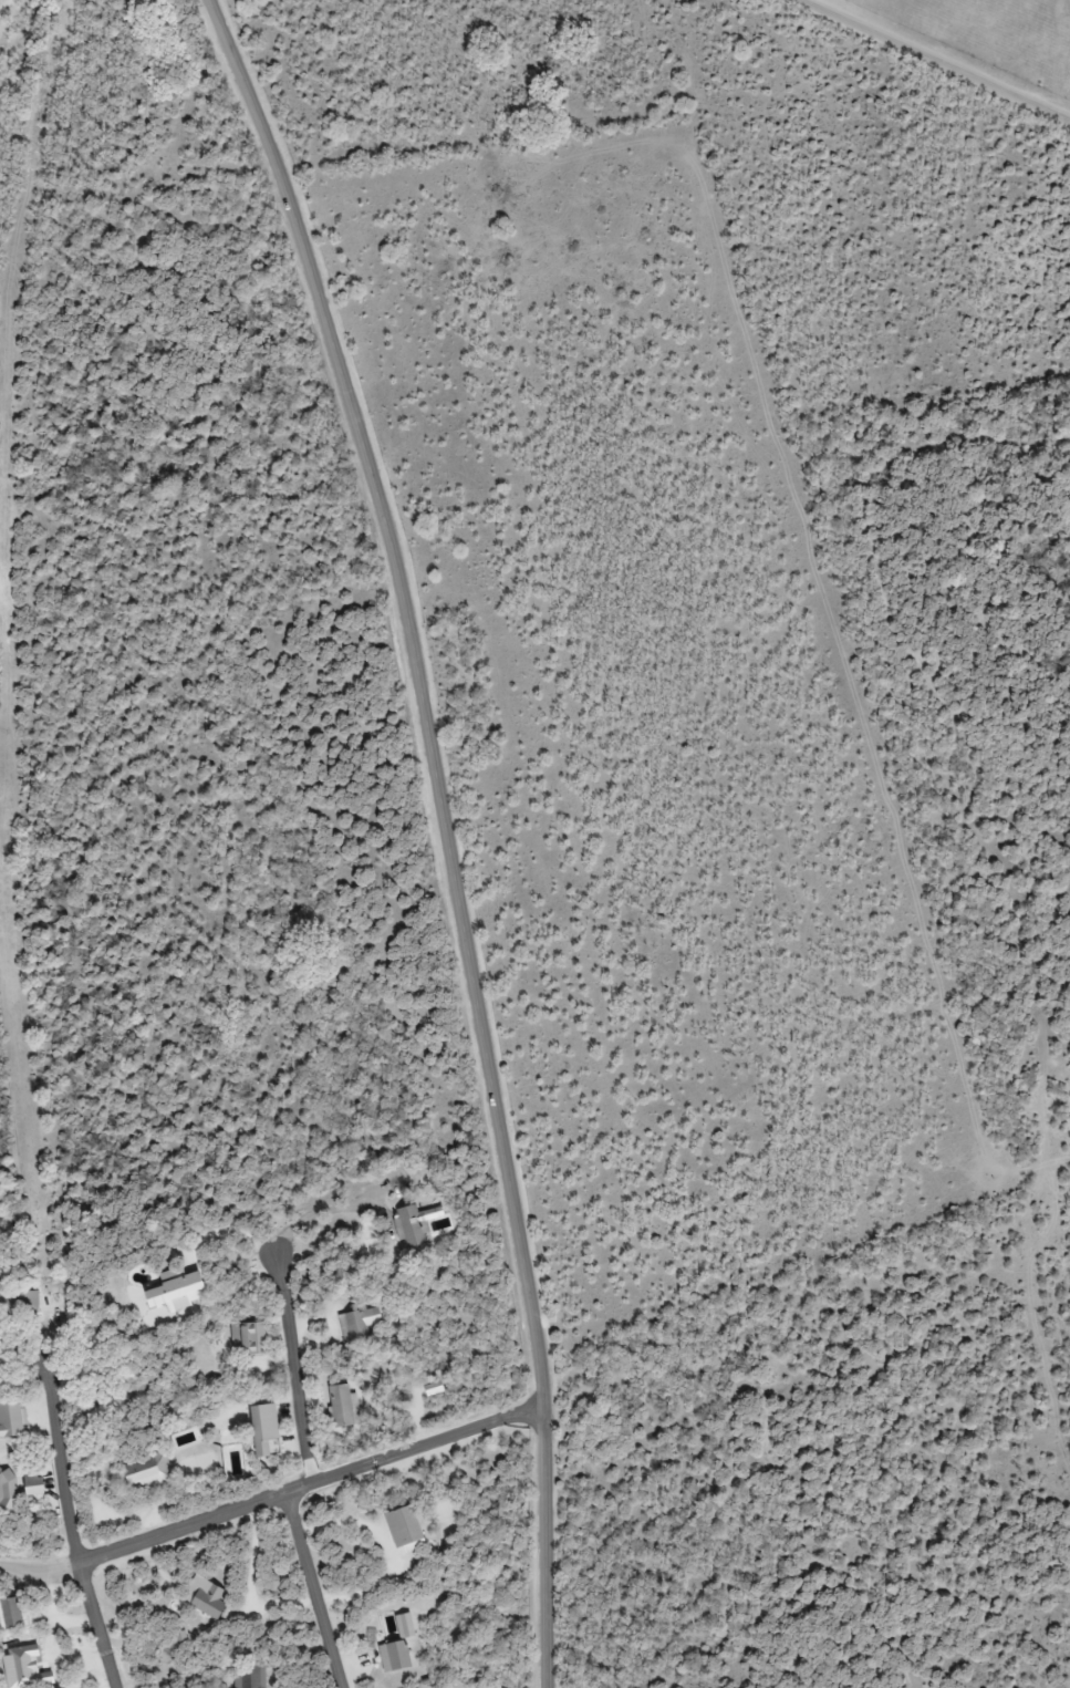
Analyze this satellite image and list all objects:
road: (934, 60)
road: (457, 830)
building: (414, 1225)
building: (180, 1290)
building: (21, 1302)
building: (361, 1324)
road: (293, 1367)
building: (345, 1406)
building: (14, 1419)
building: (269, 1429)
road: (382, 1459)
building: (152, 1472)
building: (41, 1484)
road: (76, 1500)
building: (408, 1529)
road: (107, 1557)
road: (311, 1592)
building: (214, 1601)
building: (13, 1614)
building: (32, 1640)
building: (396, 1657)
building: (251, 1676)

